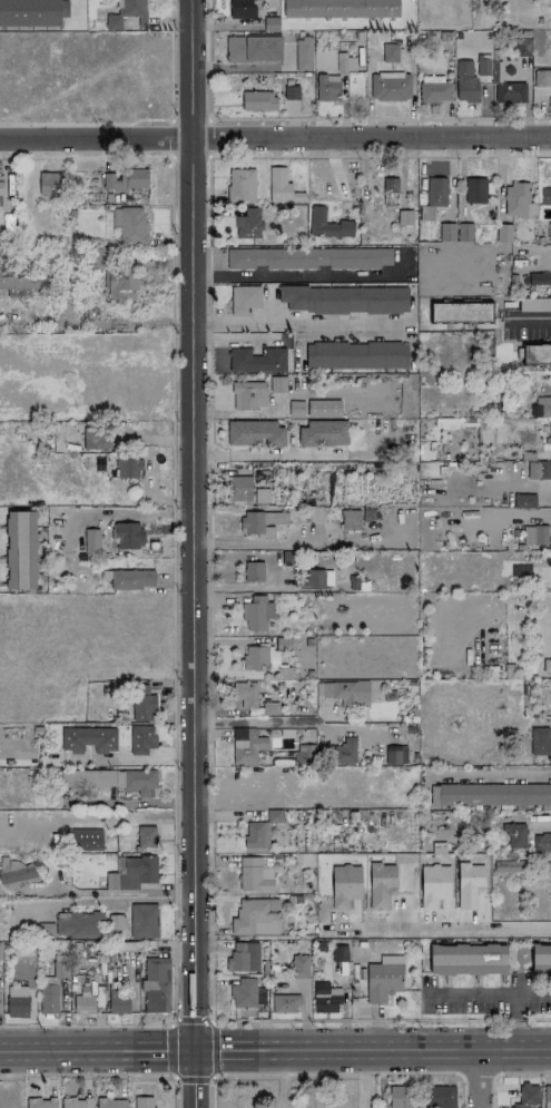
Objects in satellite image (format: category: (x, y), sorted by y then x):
building: (550, 6)
building: (340, 8)
building: (240, 9)
building: (29, 12)
building: (129, 12)
building: (521, 47)
building: (253, 49)
building: (390, 52)
building: (303, 55)
building: (345, 62)
building: (483, 65)
road: (239, 67)
building: (542, 78)
building: (465, 82)
building: (390, 86)
building: (327, 87)
building: (434, 91)
building: (291, 92)
building: (509, 92)
building: (258, 101)
road: (322, 118)
road: (275, 138)
building: (125, 180)
building: (50, 184)
building: (0, 185)
building: (240, 185)
building: (279, 186)
building: (475, 190)
building: (436, 192)
building: (388, 193)
building: (545, 195)
building: (518, 202)
building: (130, 224)
building: (248, 224)
building: (327, 225)
building: (446, 232)
building: (464, 232)
building: (549, 232)
building: (503, 233)
building: (308, 258)
road: (307, 276)
building: (538, 280)
building: (22, 282)
building: (244, 300)
building: (344, 300)
building: (460, 312)
road: (530, 320)
road: (294, 322)
building: (535, 354)
building: (356, 355)
building: (256, 360)
building: (248, 395)
building: (542, 405)
building: (295, 409)
building: (323, 409)
building: (445, 423)
building: (255, 433)
building: (322, 433)
building: (96, 439)
building: (549, 440)
road: (267, 455)
building: (127, 465)
building: (542, 470)
building: (239, 490)
building: (260, 496)
building: (524, 501)
road: (524, 512)
building: (350, 519)
building: (262, 523)
road: (193, 524)
building: (128, 535)
building: (534, 535)
building: (91, 541)
road: (250, 542)
building: (20, 550)
building: (254, 571)
building: (131, 579)
building: (313, 579)
building: (256, 614)
building: (265, 655)
building: (547, 666)
building: (347, 693)
building: (255, 698)
building: (144, 707)
road: (258, 723)
road: (356, 729)
building: (88, 739)
building: (141, 739)
building: (540, 742)
building: (246, 746)
building: (345, 752)
building: (303, 754)
building: (392, 755)
road: (118, 759)
road: (490, 774)
building: (107, 781)
building: (492, 795)
building: (274, 816)
road: (511, 817)
building: (256, 835)
building: (514, 835)
building: (146, 836)
building: (85, 841)
building: (541, 842)
building: (549, 869)
building: (132, 873)
building: (17, 874)
building: (254, 875)
road: (136, 896)
building: (255, 919)
building: (142, 921)
building: (115, 922)
building: (79, 925)
road: (443, 931)
building: (340, 953)
building: (243, 957)
building: (466, 960)
building: (541, 960)
building: (299, 967)
building: (59, 969)
building: (383, 979)
building: (156, 984)
building: (243, 993)
road: (486, 996)
building: (325, 998)
building: (48, 999)
building: (17, 1001)
building: (118, 1002)
building: (284, 1003)
building: (86, 1006)
building: (0, 1012)
road: (174, 1023)
road: (513, 1023)
road: (96, 1050)
road: (372, 1050)
road: (504, 1071)
road: (352, 1072)
road: (88, 1073)
road: (194, 1079)
road: (480, 1079)
road: (211, 1092)
building: (548, 1095)
building: (527, 1096)
building: (399, 1097)
building: (441, 1097)
building: (40, 1102)
building: (76, 1102)
building: (110, 1102)
building: (142, 1102)

